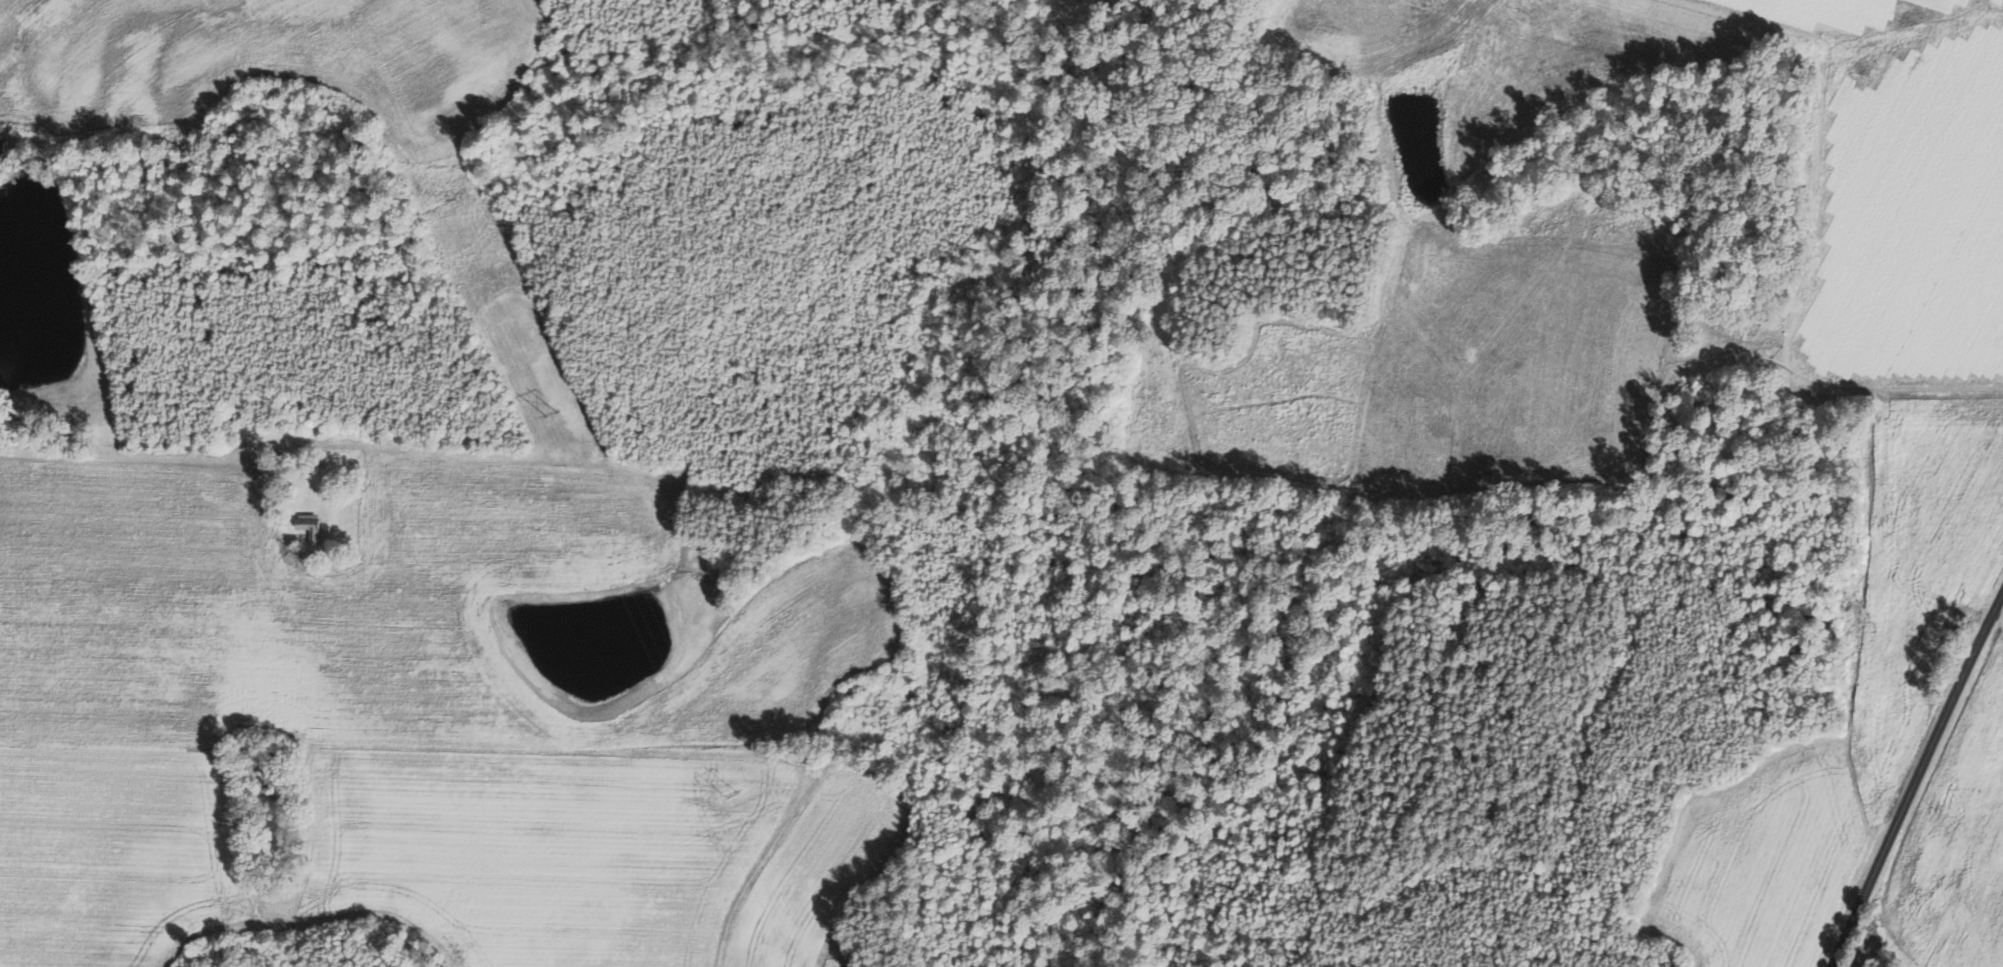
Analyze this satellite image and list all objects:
power tower: (548, 415)
road: (179, 459)
building: (311, 526)
road: (1916, 780)
power tower: (730, 795)

